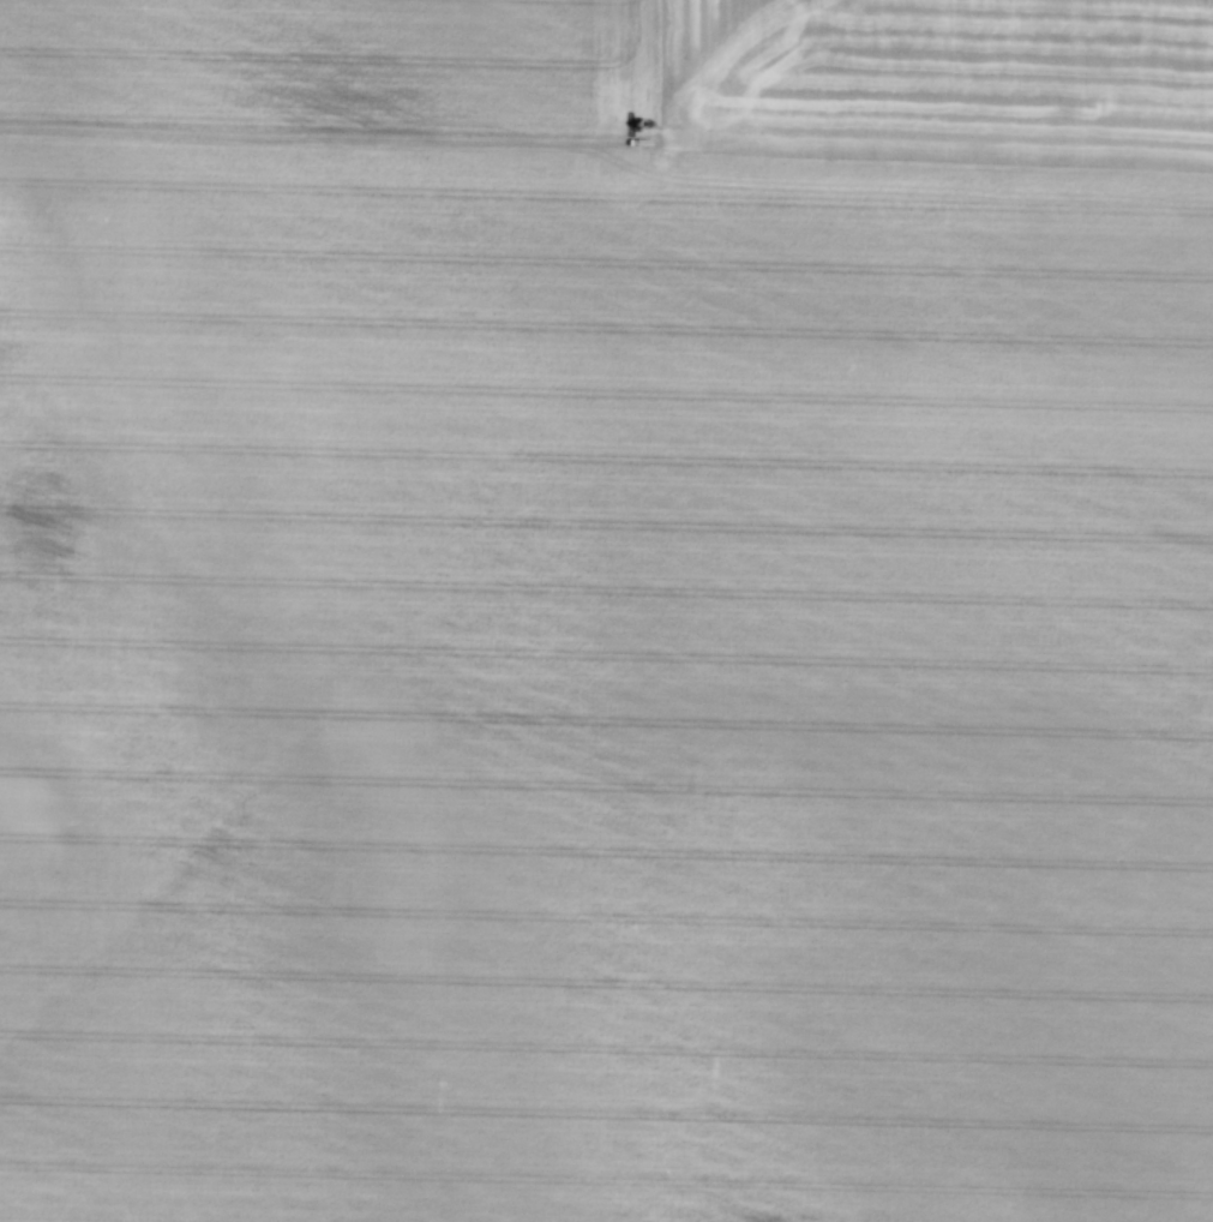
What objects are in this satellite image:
crop: (606, 611)

